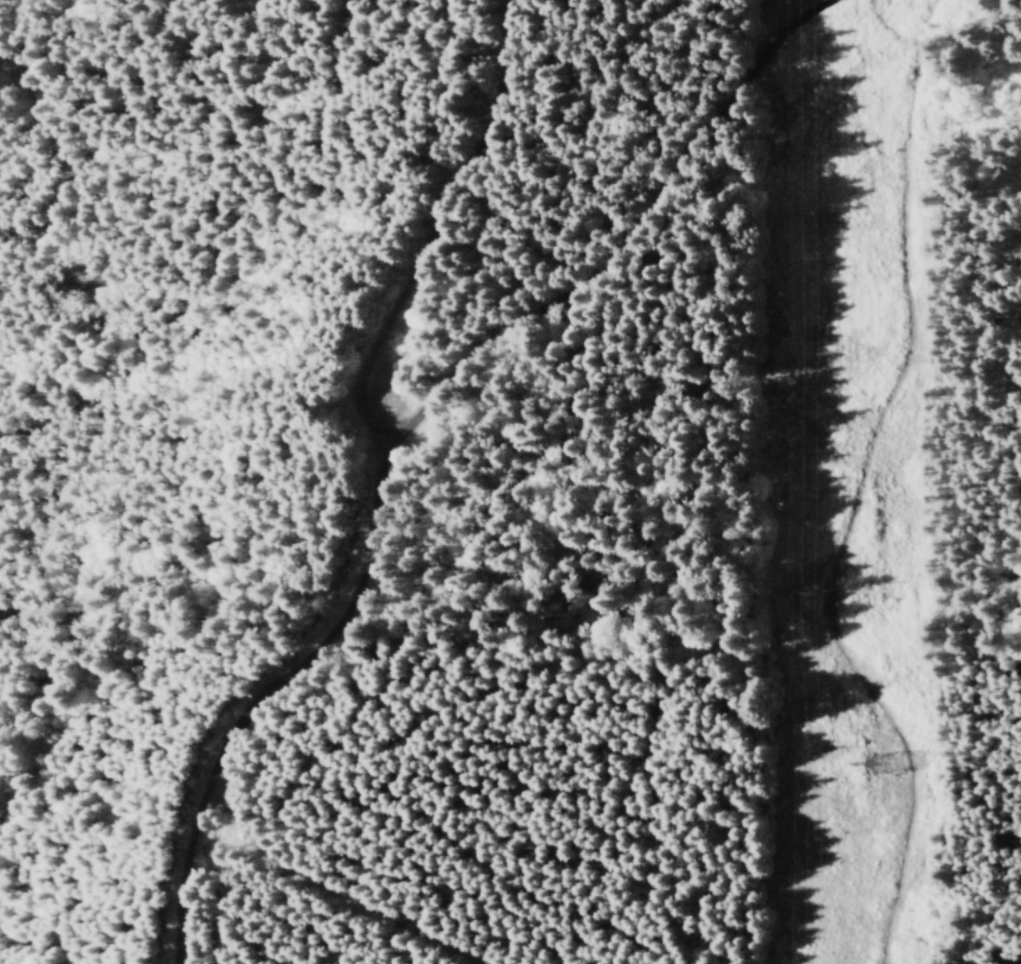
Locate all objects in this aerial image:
power tower: (809, 593)
power tower: (875, 764)

